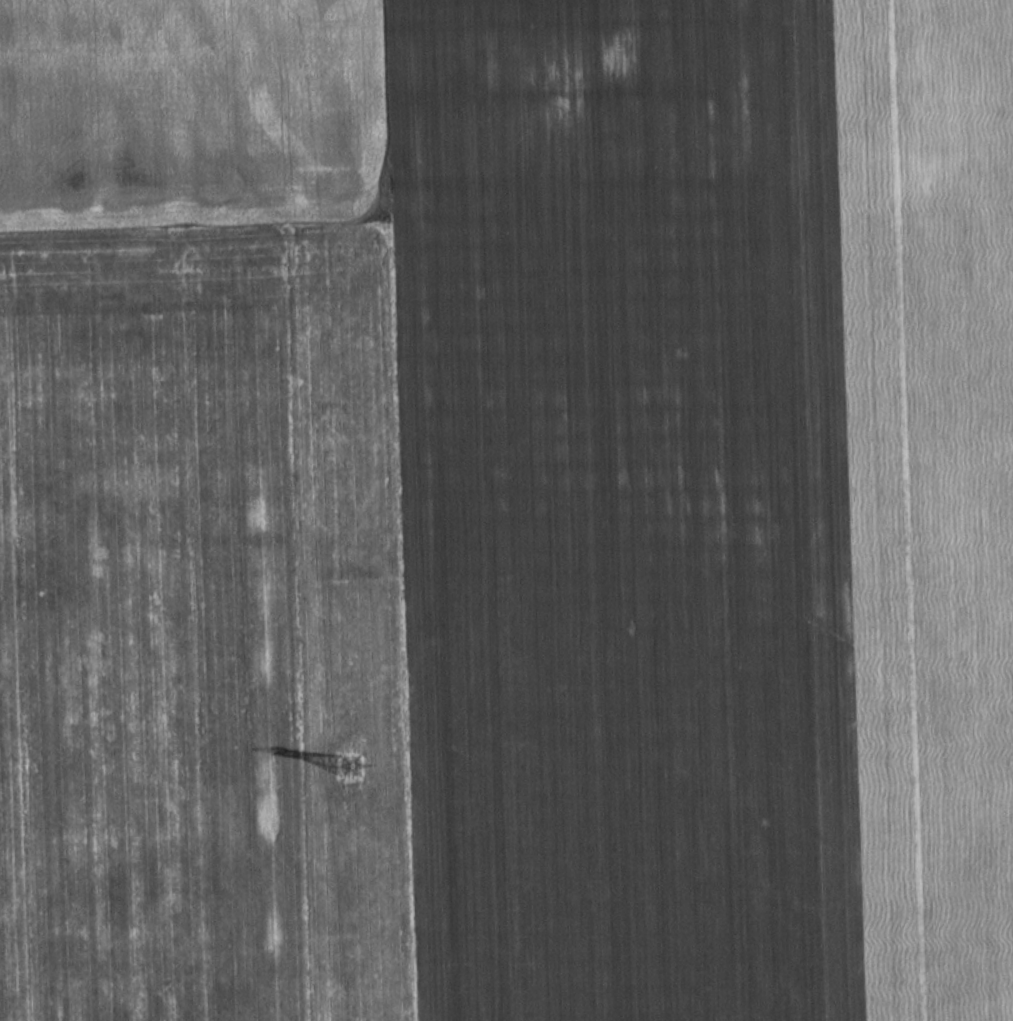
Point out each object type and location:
crop: (187, 109)
crop: (704, 505)
crop: (201, 624)
power tower: (348, 767)

